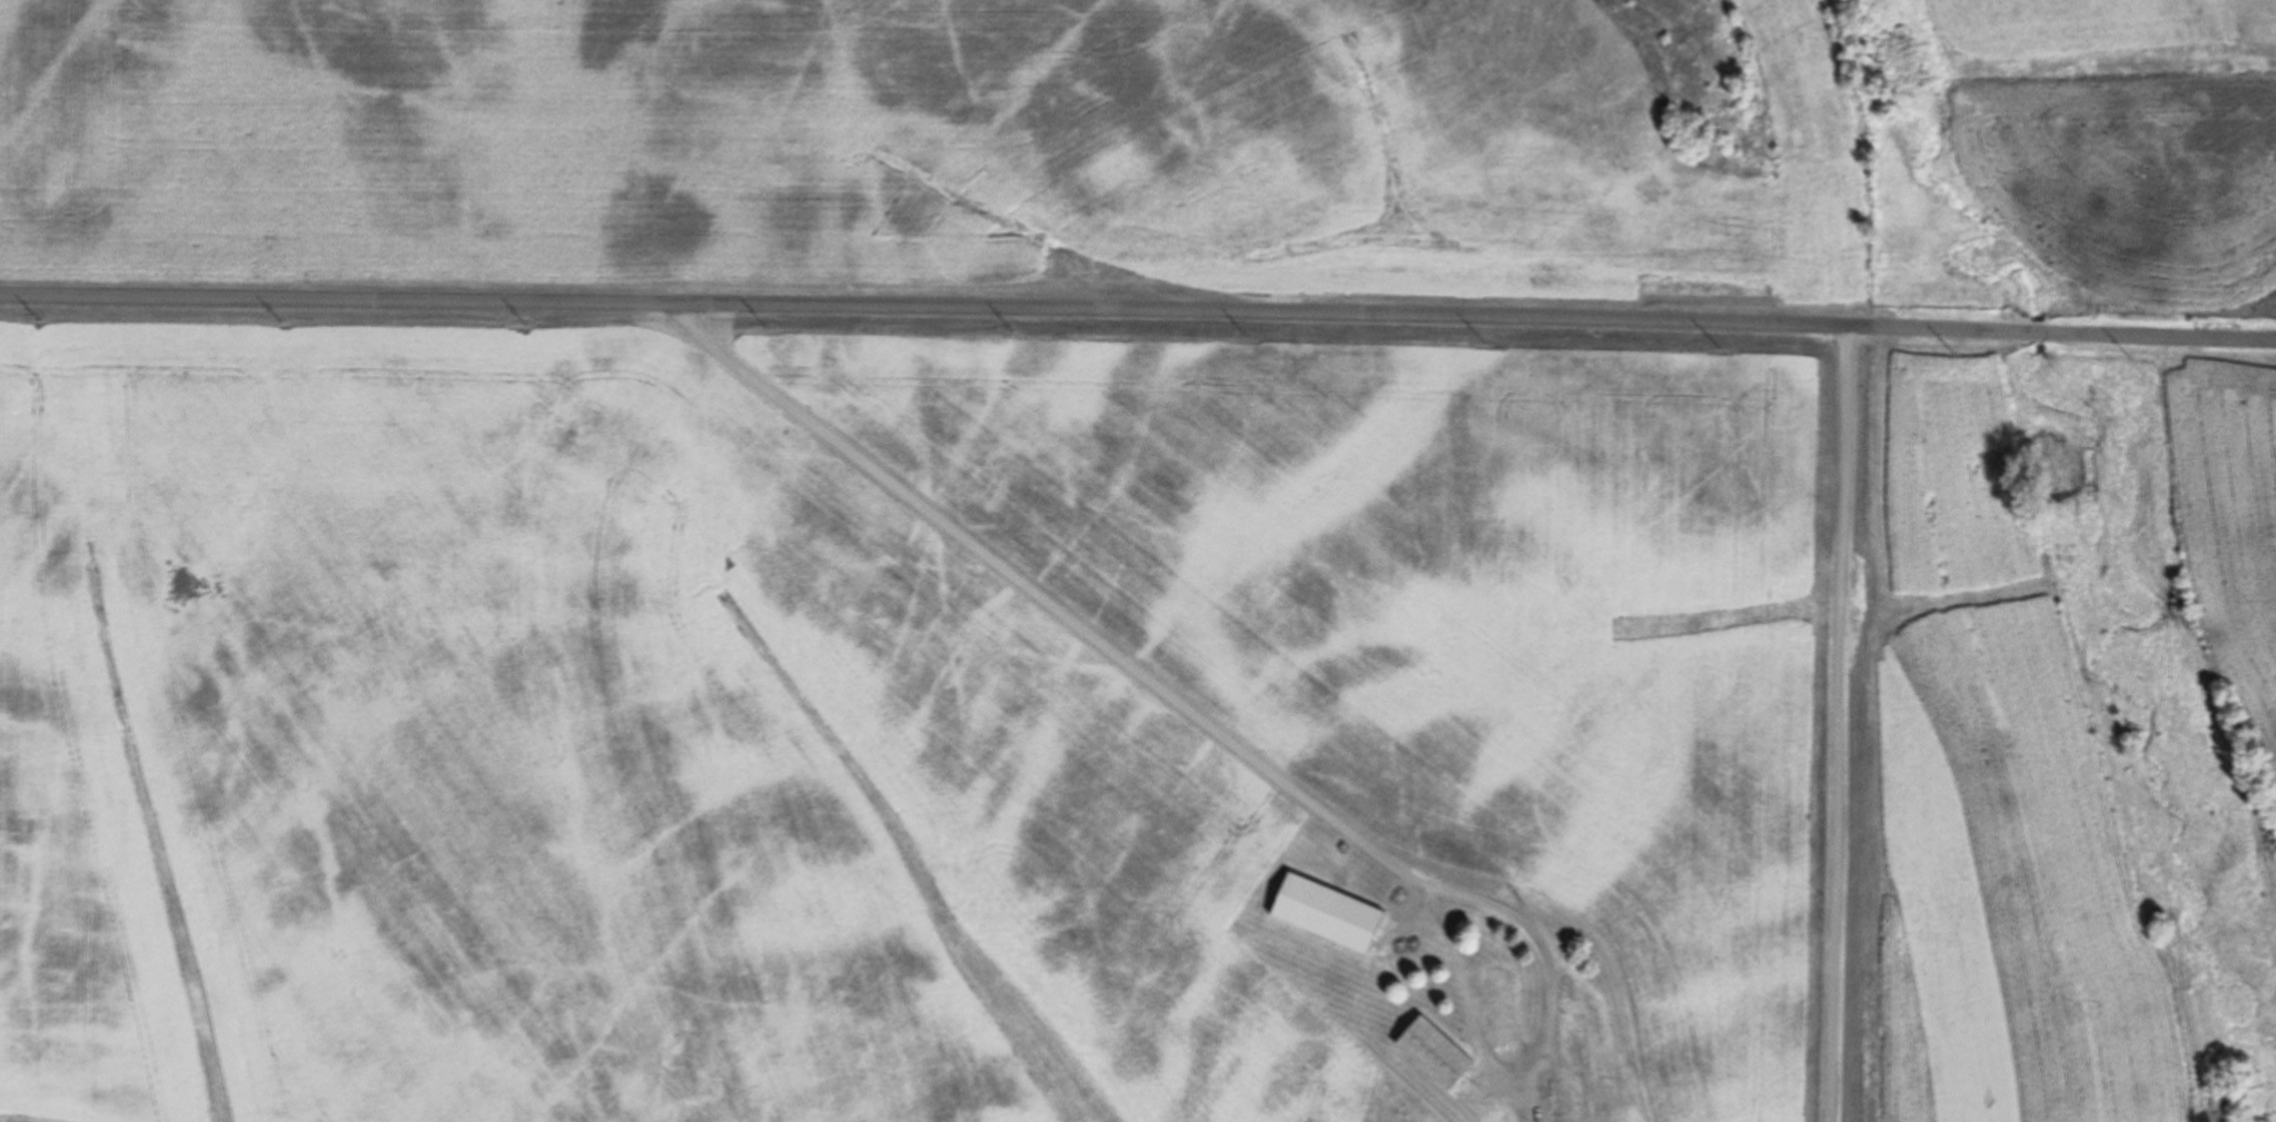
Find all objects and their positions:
road: (1138, 309)
road: (1137, 649)
road: (1844, 724)
building: (1323, 914)
building: (1495, 989)
building: (1571, 1040)
building: (1431, 1052)
building: (1577, 1121)

